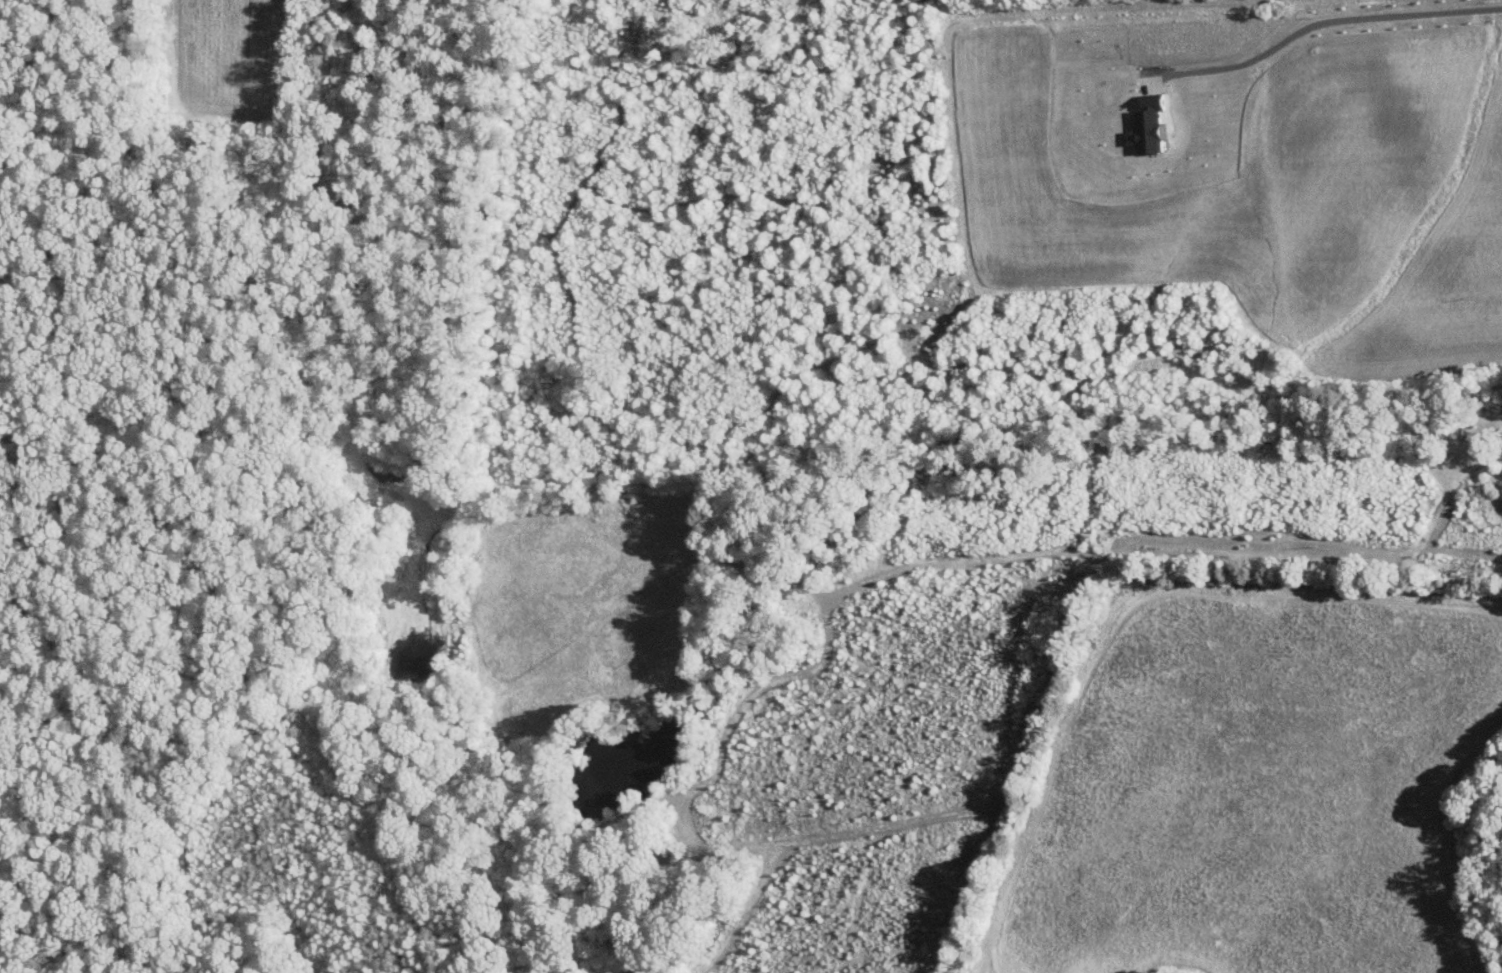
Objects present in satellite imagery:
road: (1327, 24)
building: (1146, 125)

